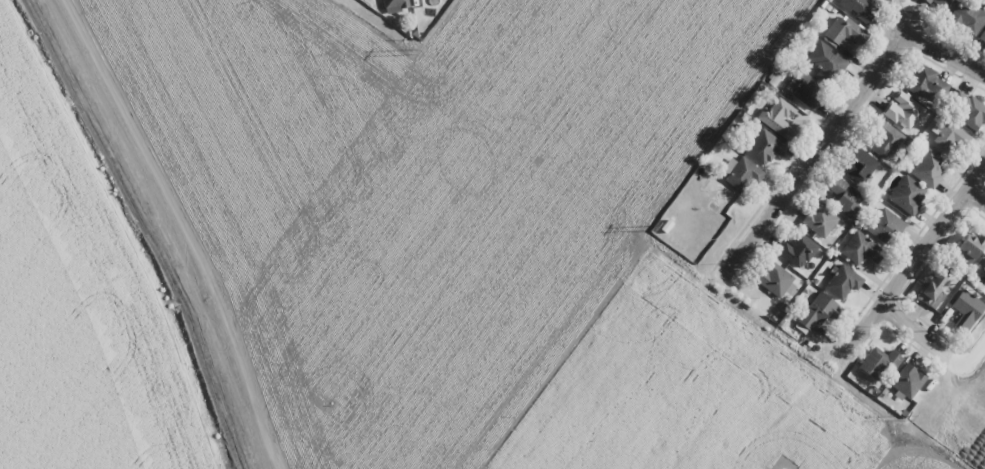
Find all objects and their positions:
building: (940, 3)
building: (395, 5)
building: (860, 8)
building: (967, 17)
building: (844, 31)
building: (982, 36)
power tower: (413, 52)
building: (825, 62)
building: (927, 83)
building: (802, 88)
building: (968, 109)
building: (903, 110)
road: (845, 114)
building: (778, 118)
building: (950, 137)
building: (884, 140)
building: (764, 147)
building: (859, 165)
building: (927, 168)
building: (740, 172)
building: (907, 195)
building: (844, 196)
road: (977, 196)
building: (819, 219)
building: (884, 224)
power tower: (652, 227)
crop: (387, 243)
building: (969, 248)
building: (797, 249)
building: (860, 249)
road: (912, 265)
building: (983, 267)
building: (774, 278)
building: (842, 281)
building: (931, 285)
building: (966, 309)
building: (816, 310)
road: (935, 346)
building: (878, 362)
building: (907, 380)
power tower: (908, 417)

